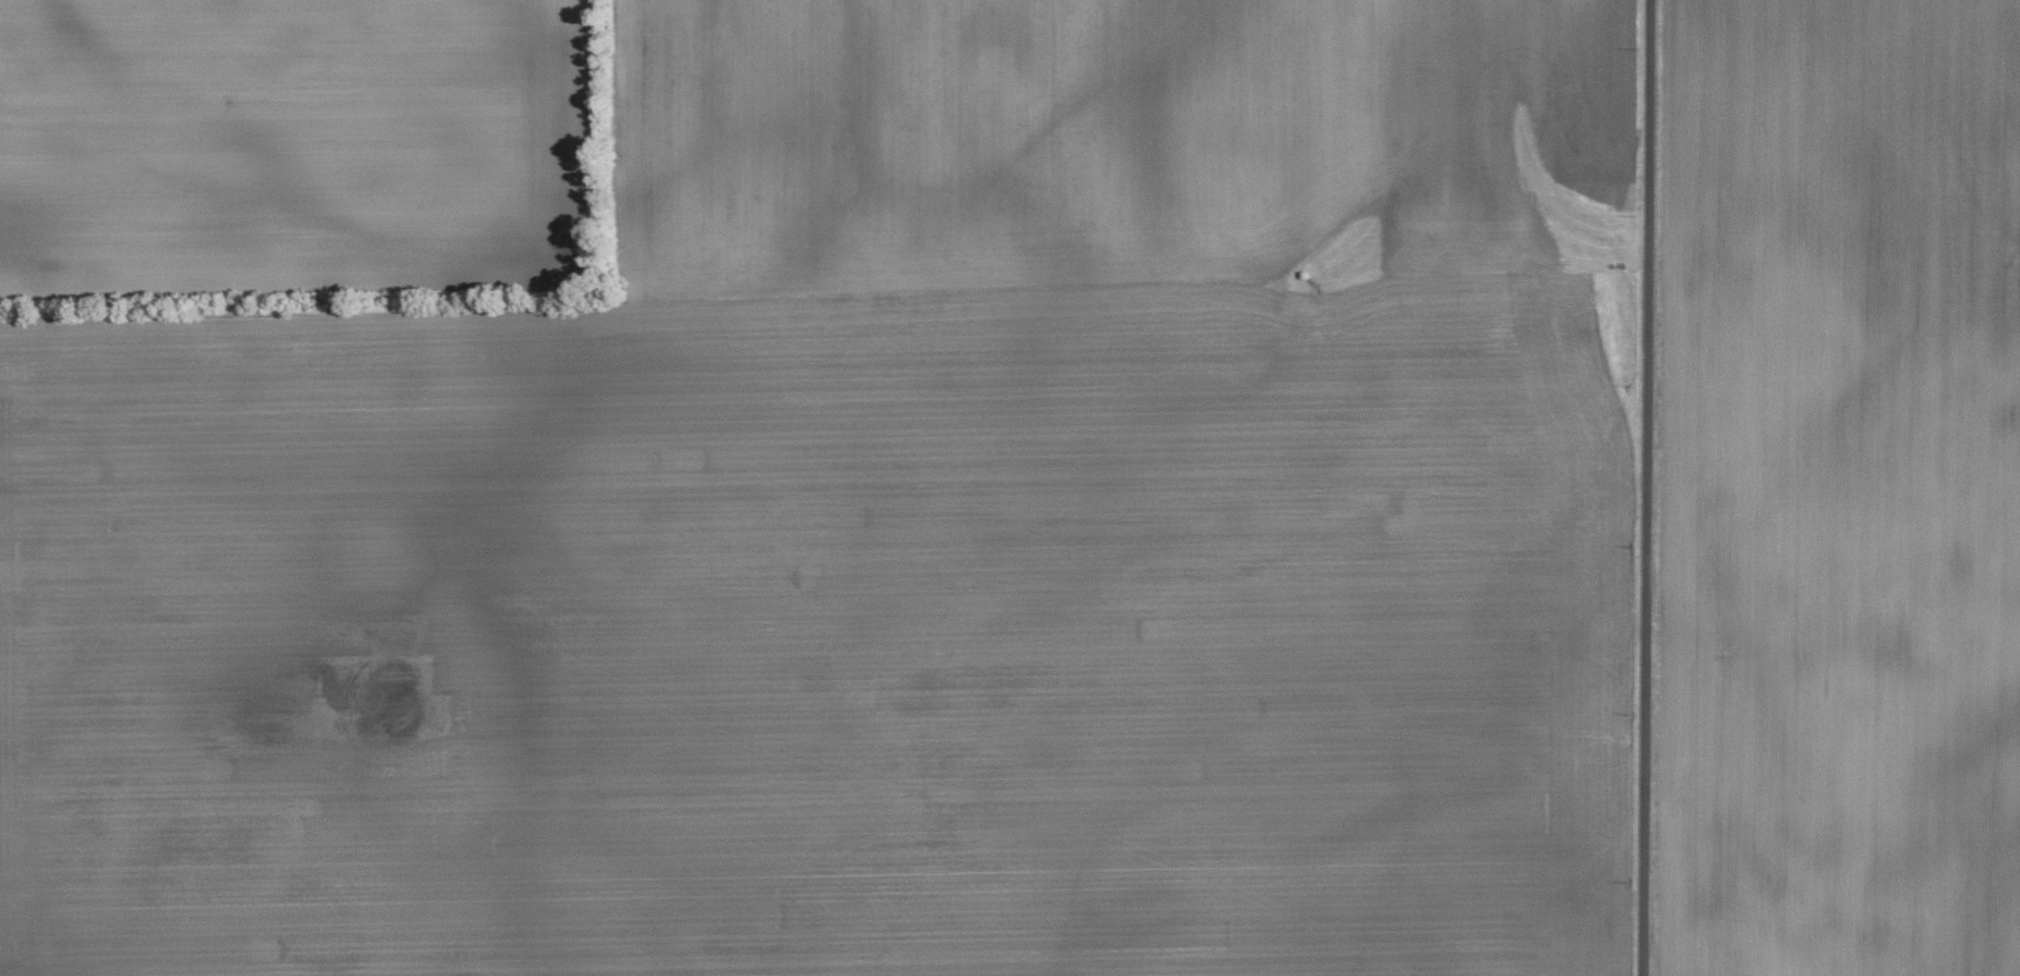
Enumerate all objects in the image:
road: (1647, 488)

